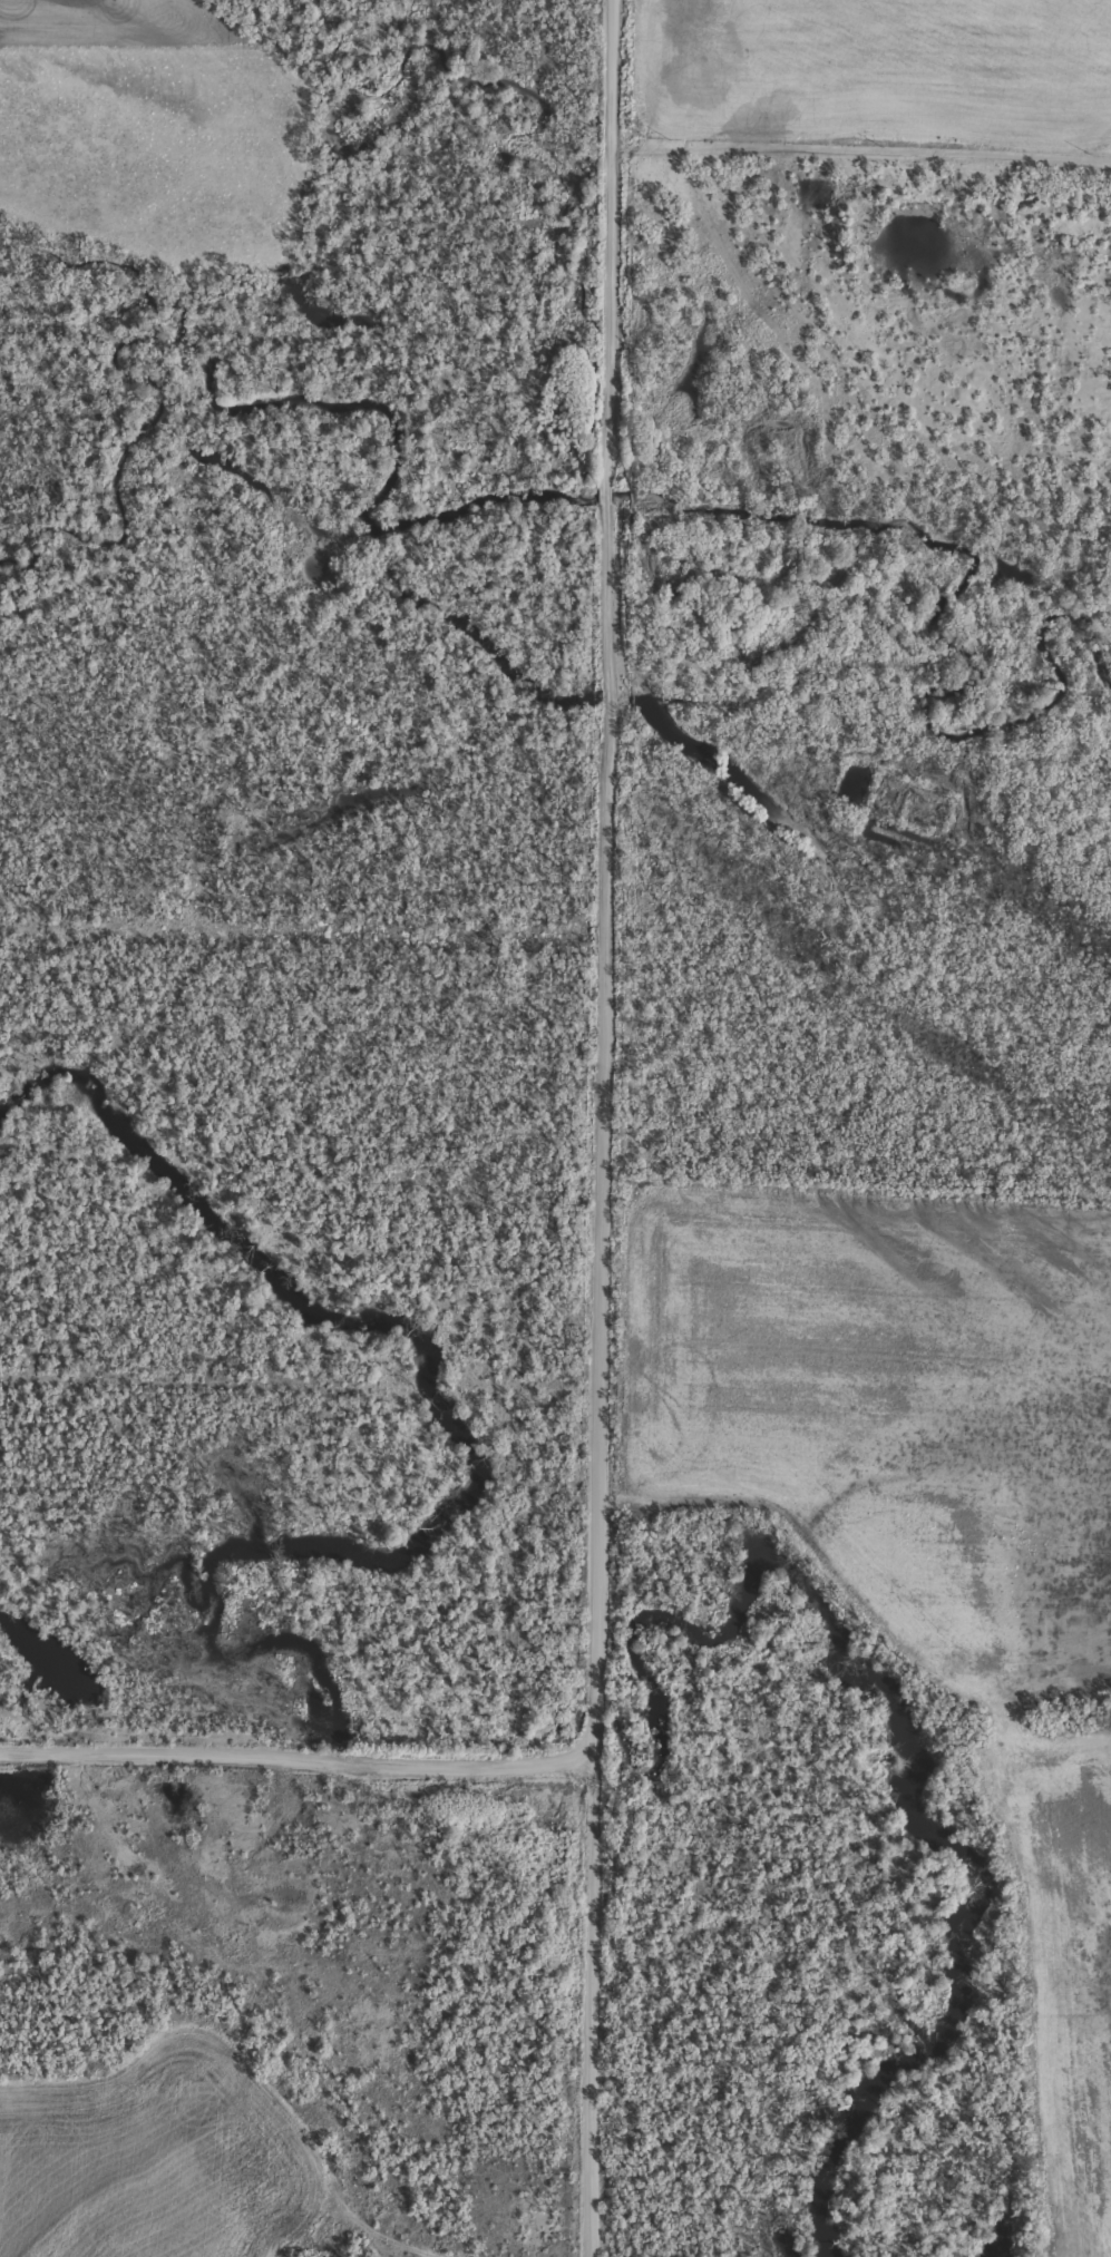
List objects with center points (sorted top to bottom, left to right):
road: (579, 1127)
road: (168, 1781)
road: (451, 1785)

